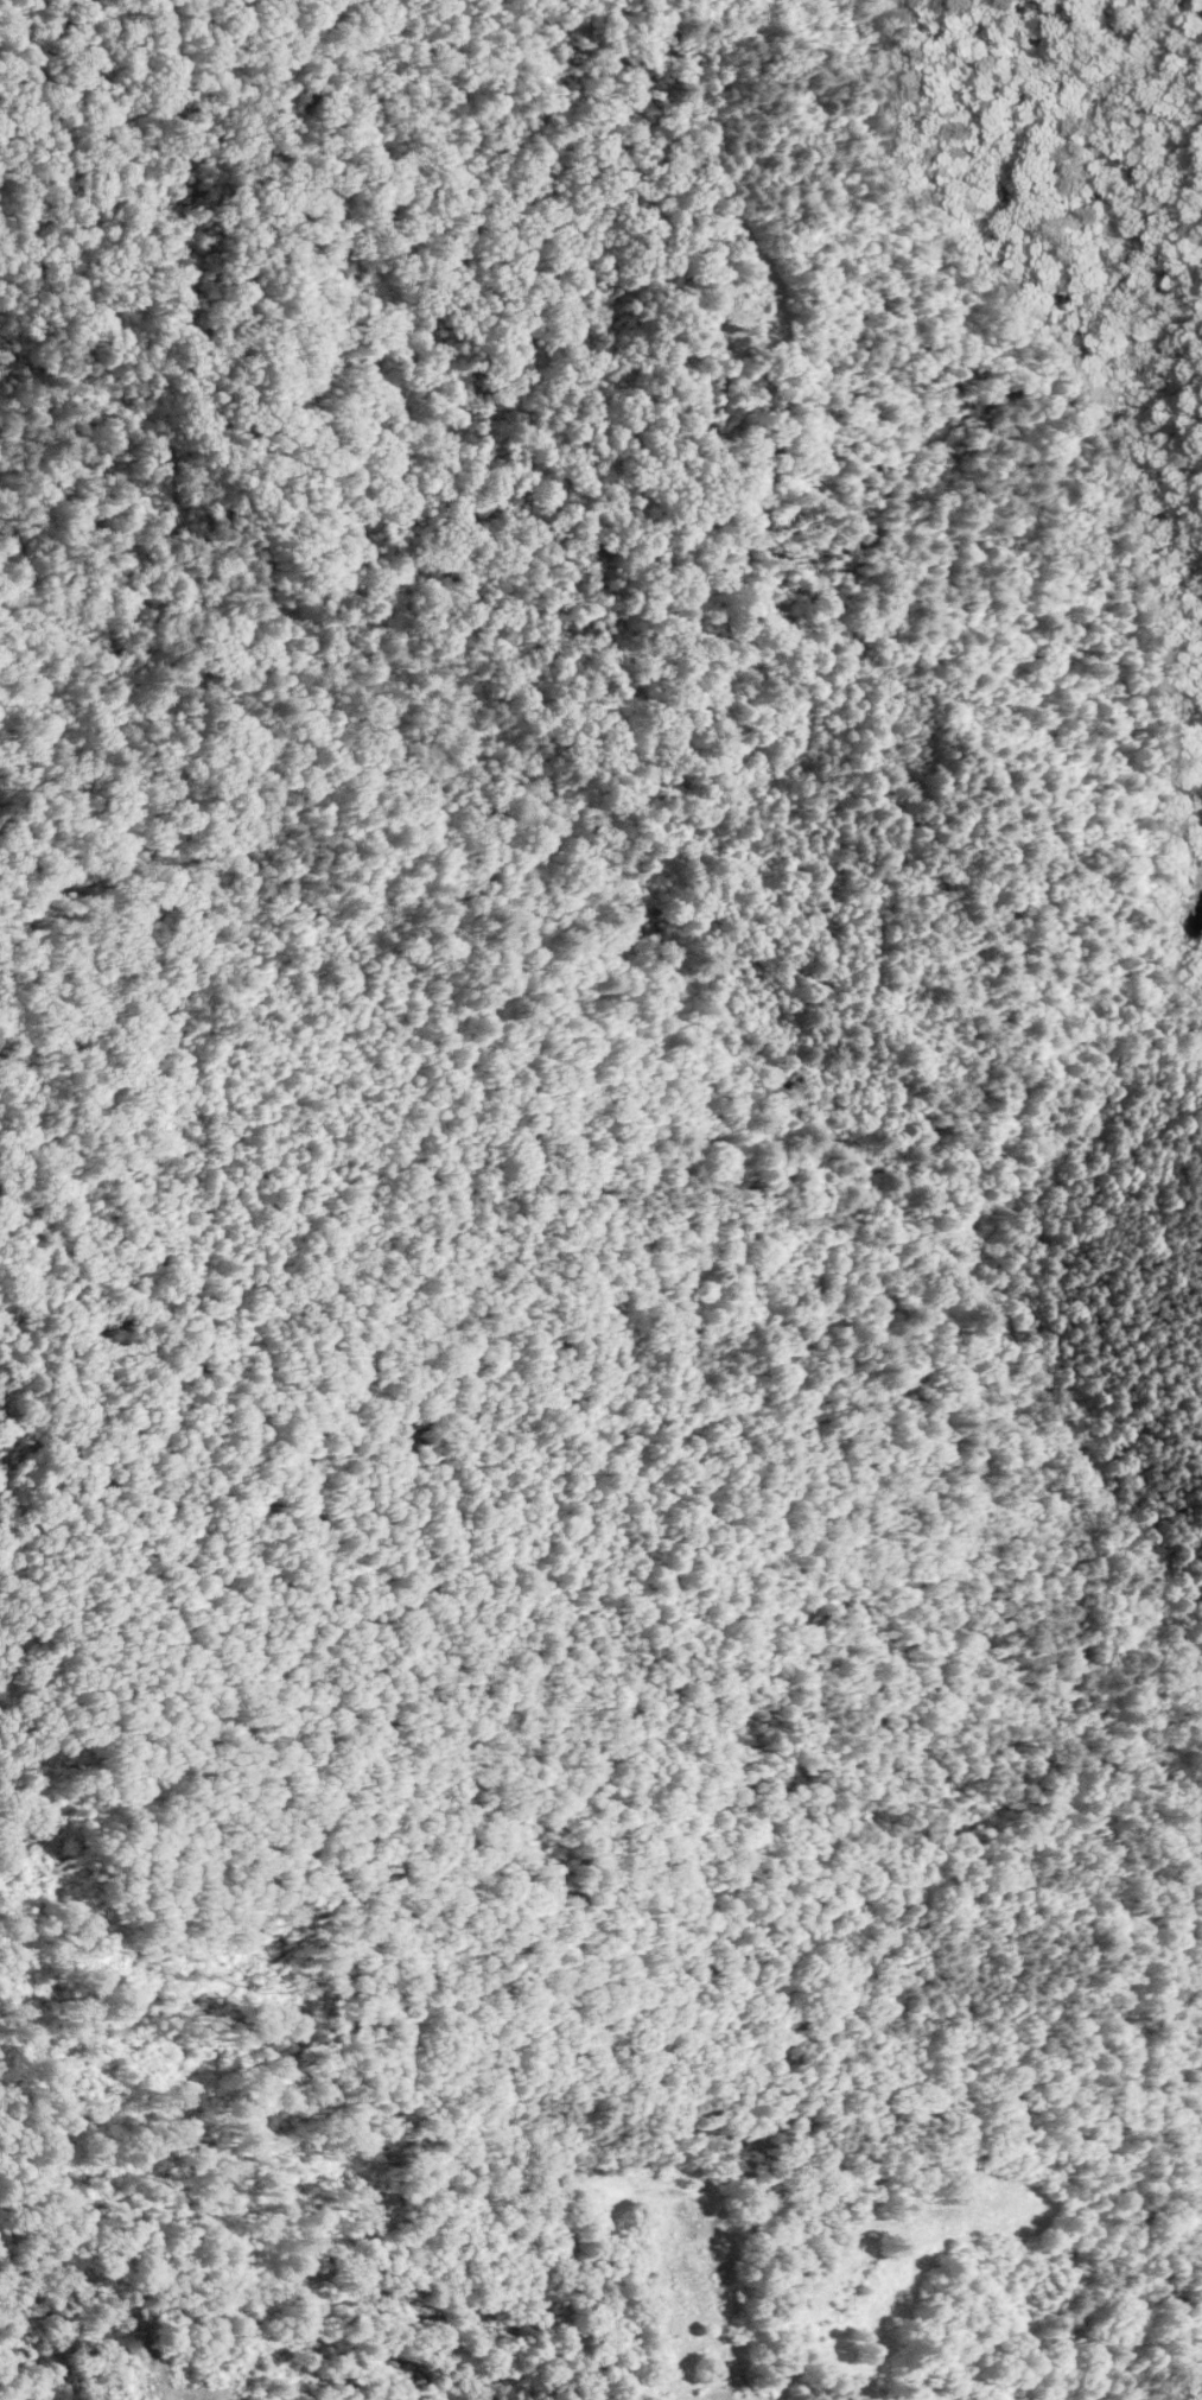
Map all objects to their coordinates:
road: (1144, 849)
river: (542, 861)
river: (1118, 1561)
road: (1122, 2057)

